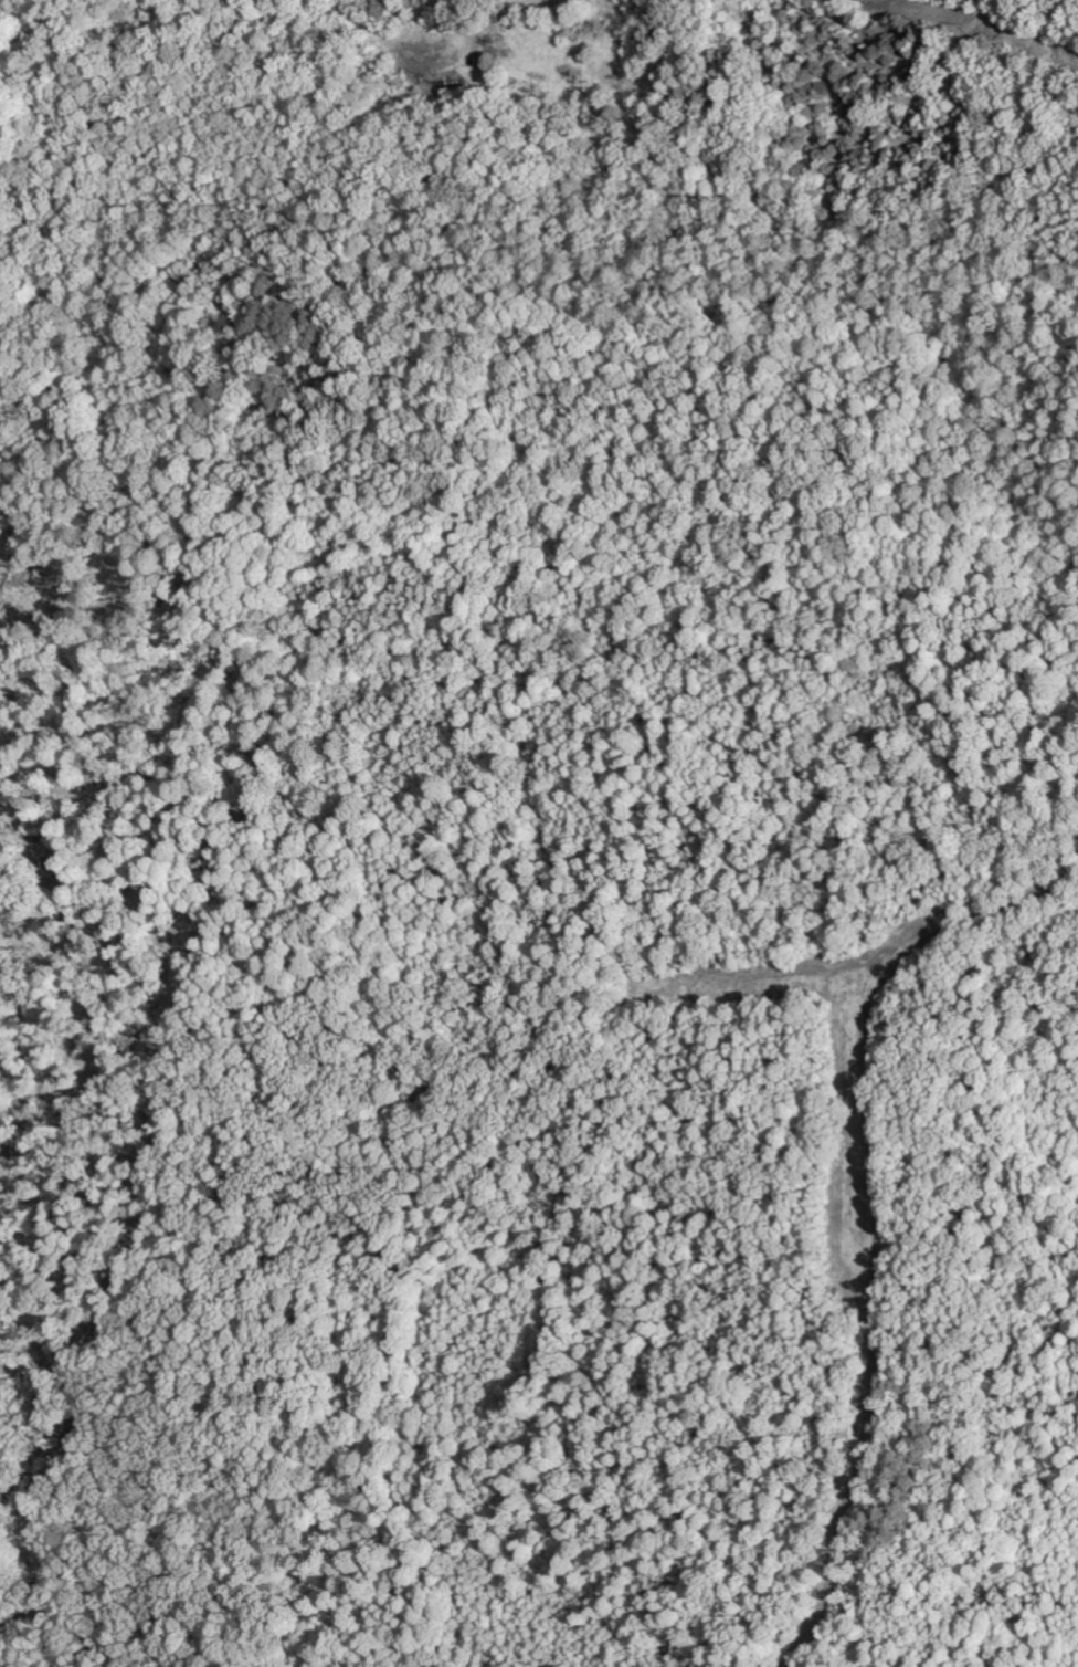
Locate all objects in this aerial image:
road: (89, 223)
road: (922, 1523)

